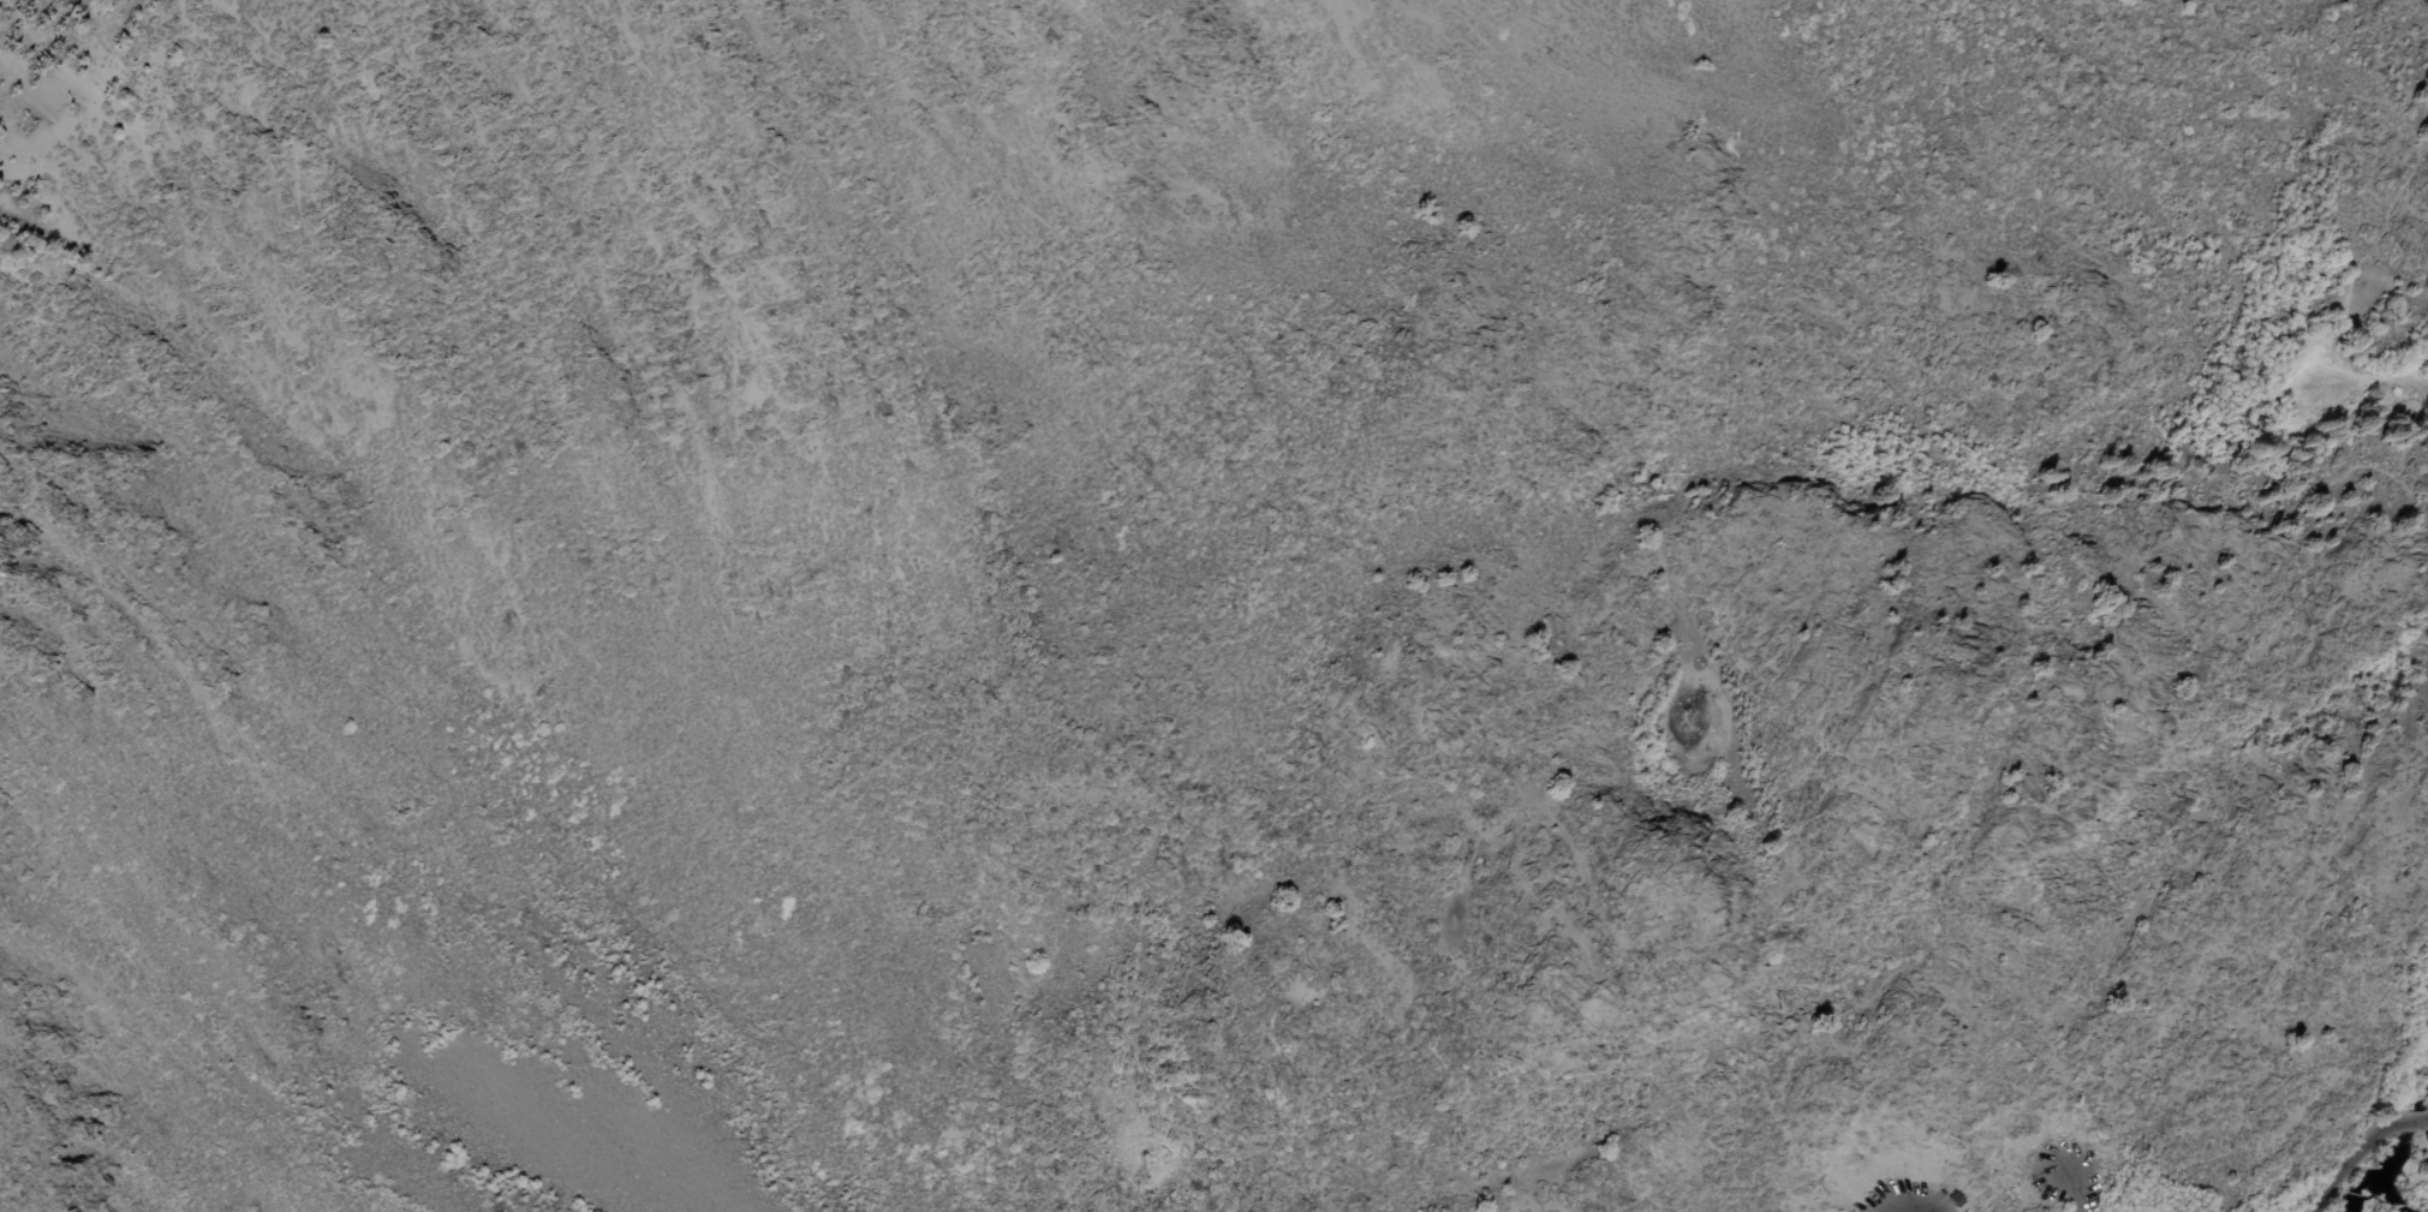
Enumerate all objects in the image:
road: (2311, 353)
road: (2409, 1124)
road: (2348, 1165)
parking lot: (2064, 1174)
road: (2070, 1195)
parking lot: (1895, 1196)
building: (1958, 1200)
road: (1884, 1210)

